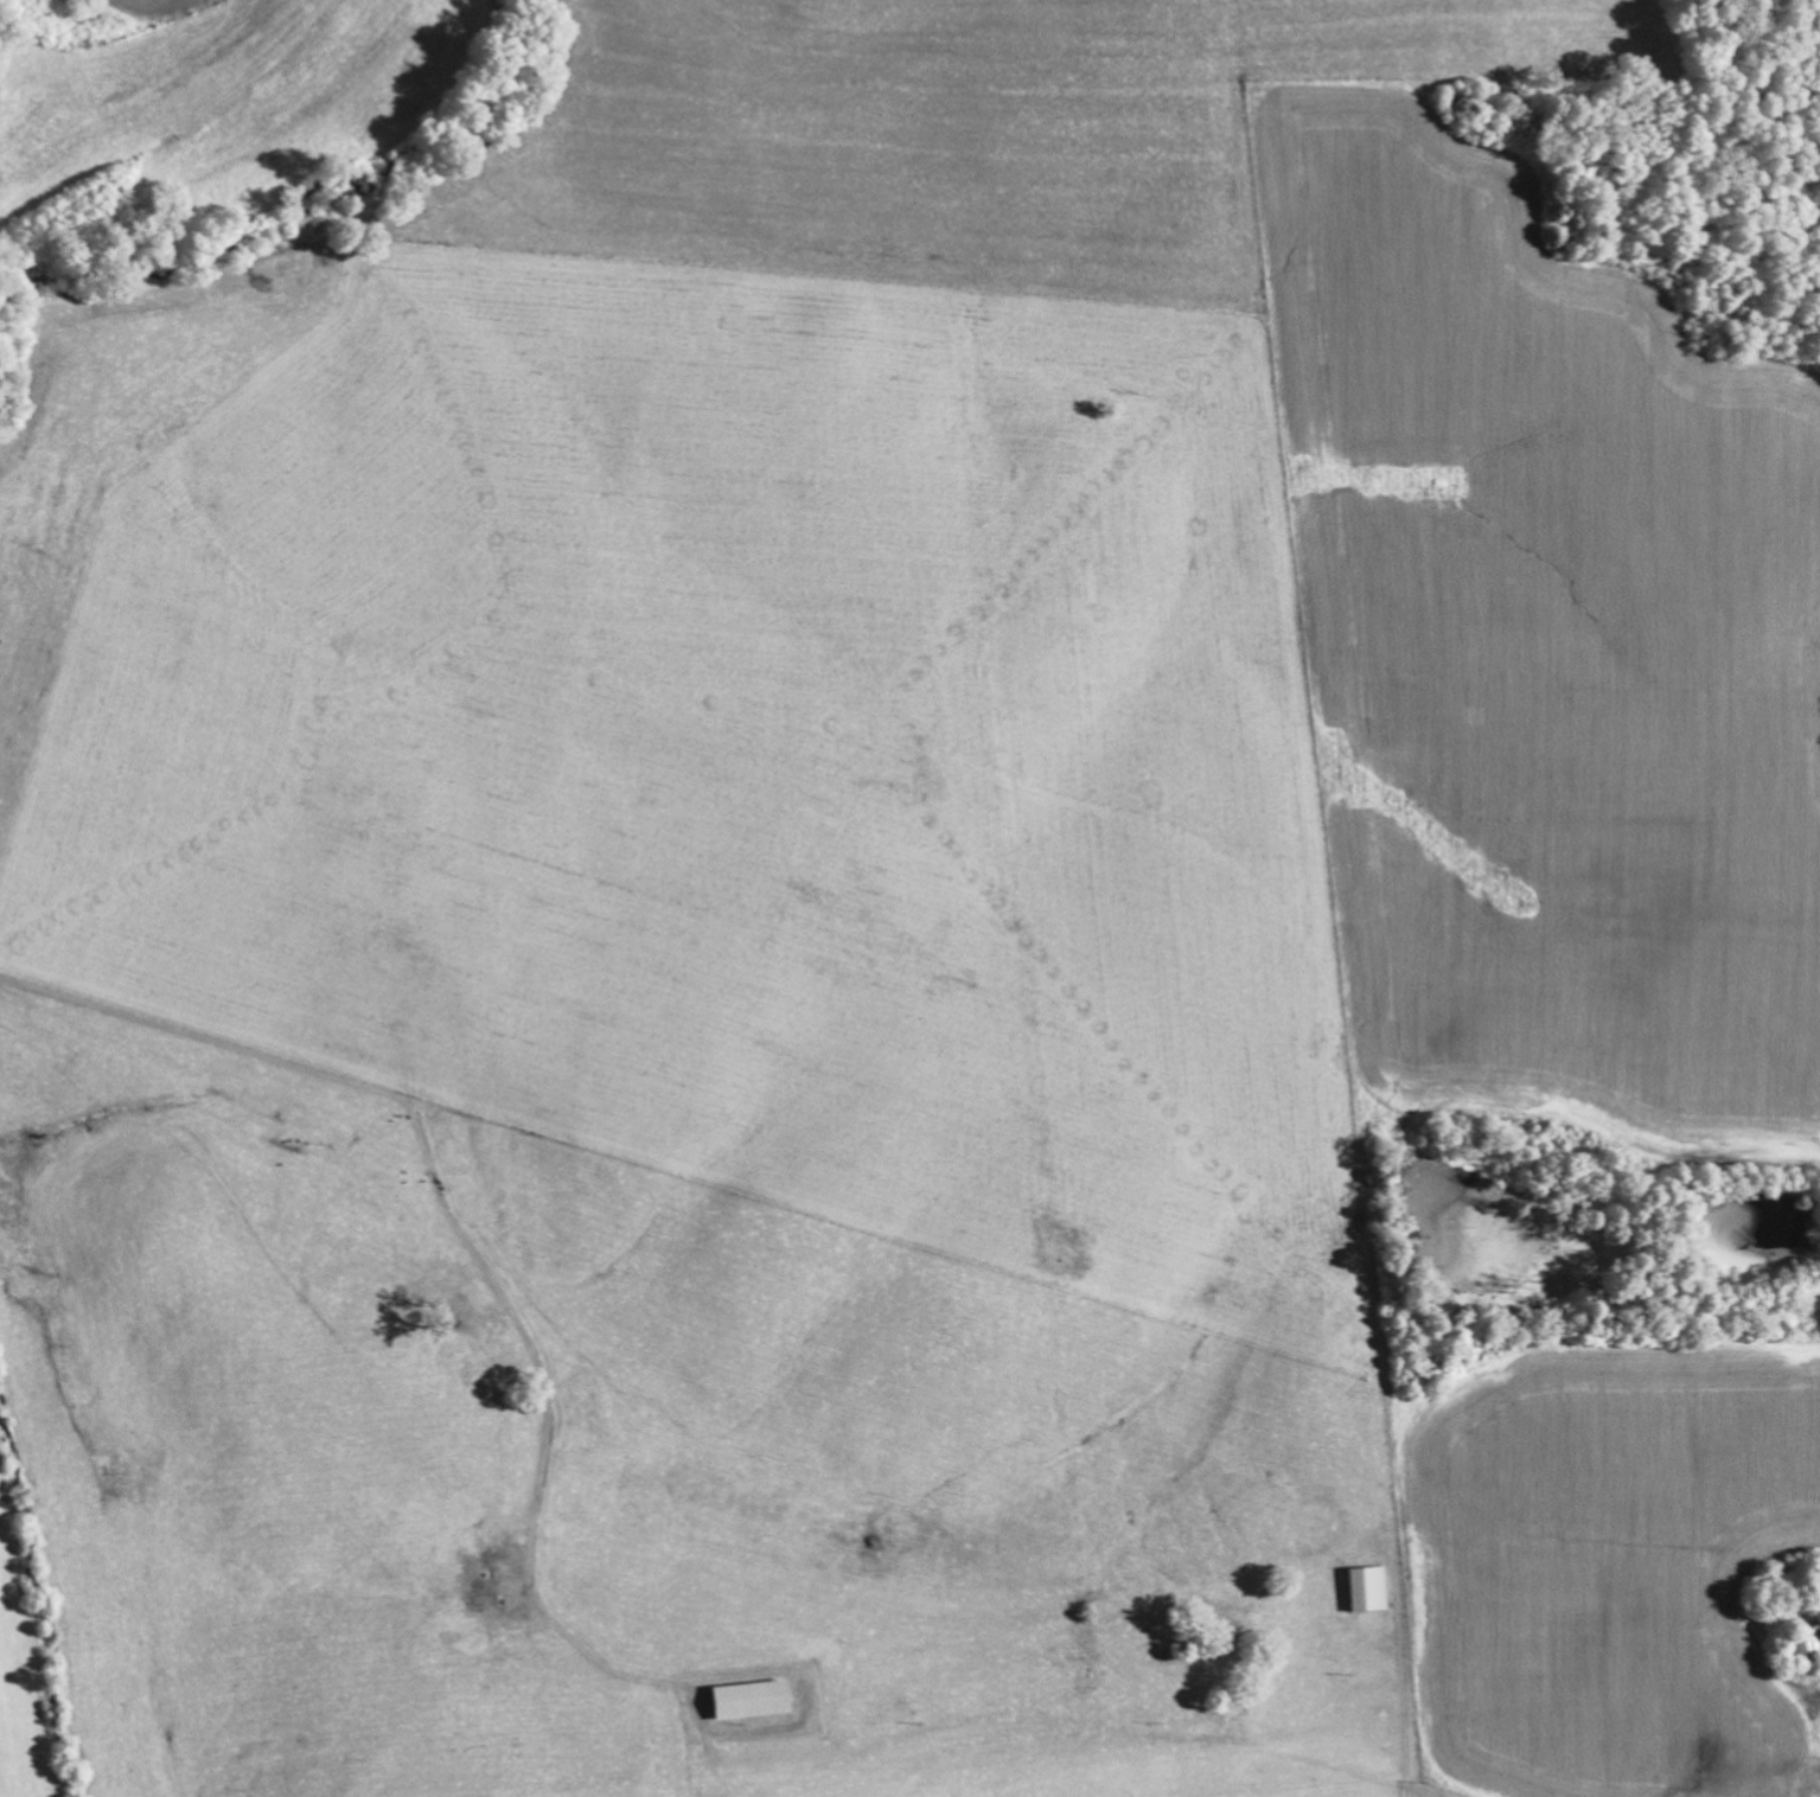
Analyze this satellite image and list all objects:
building: (1371, 1586)
building: (755, 1697)
road: (963, 1701)

